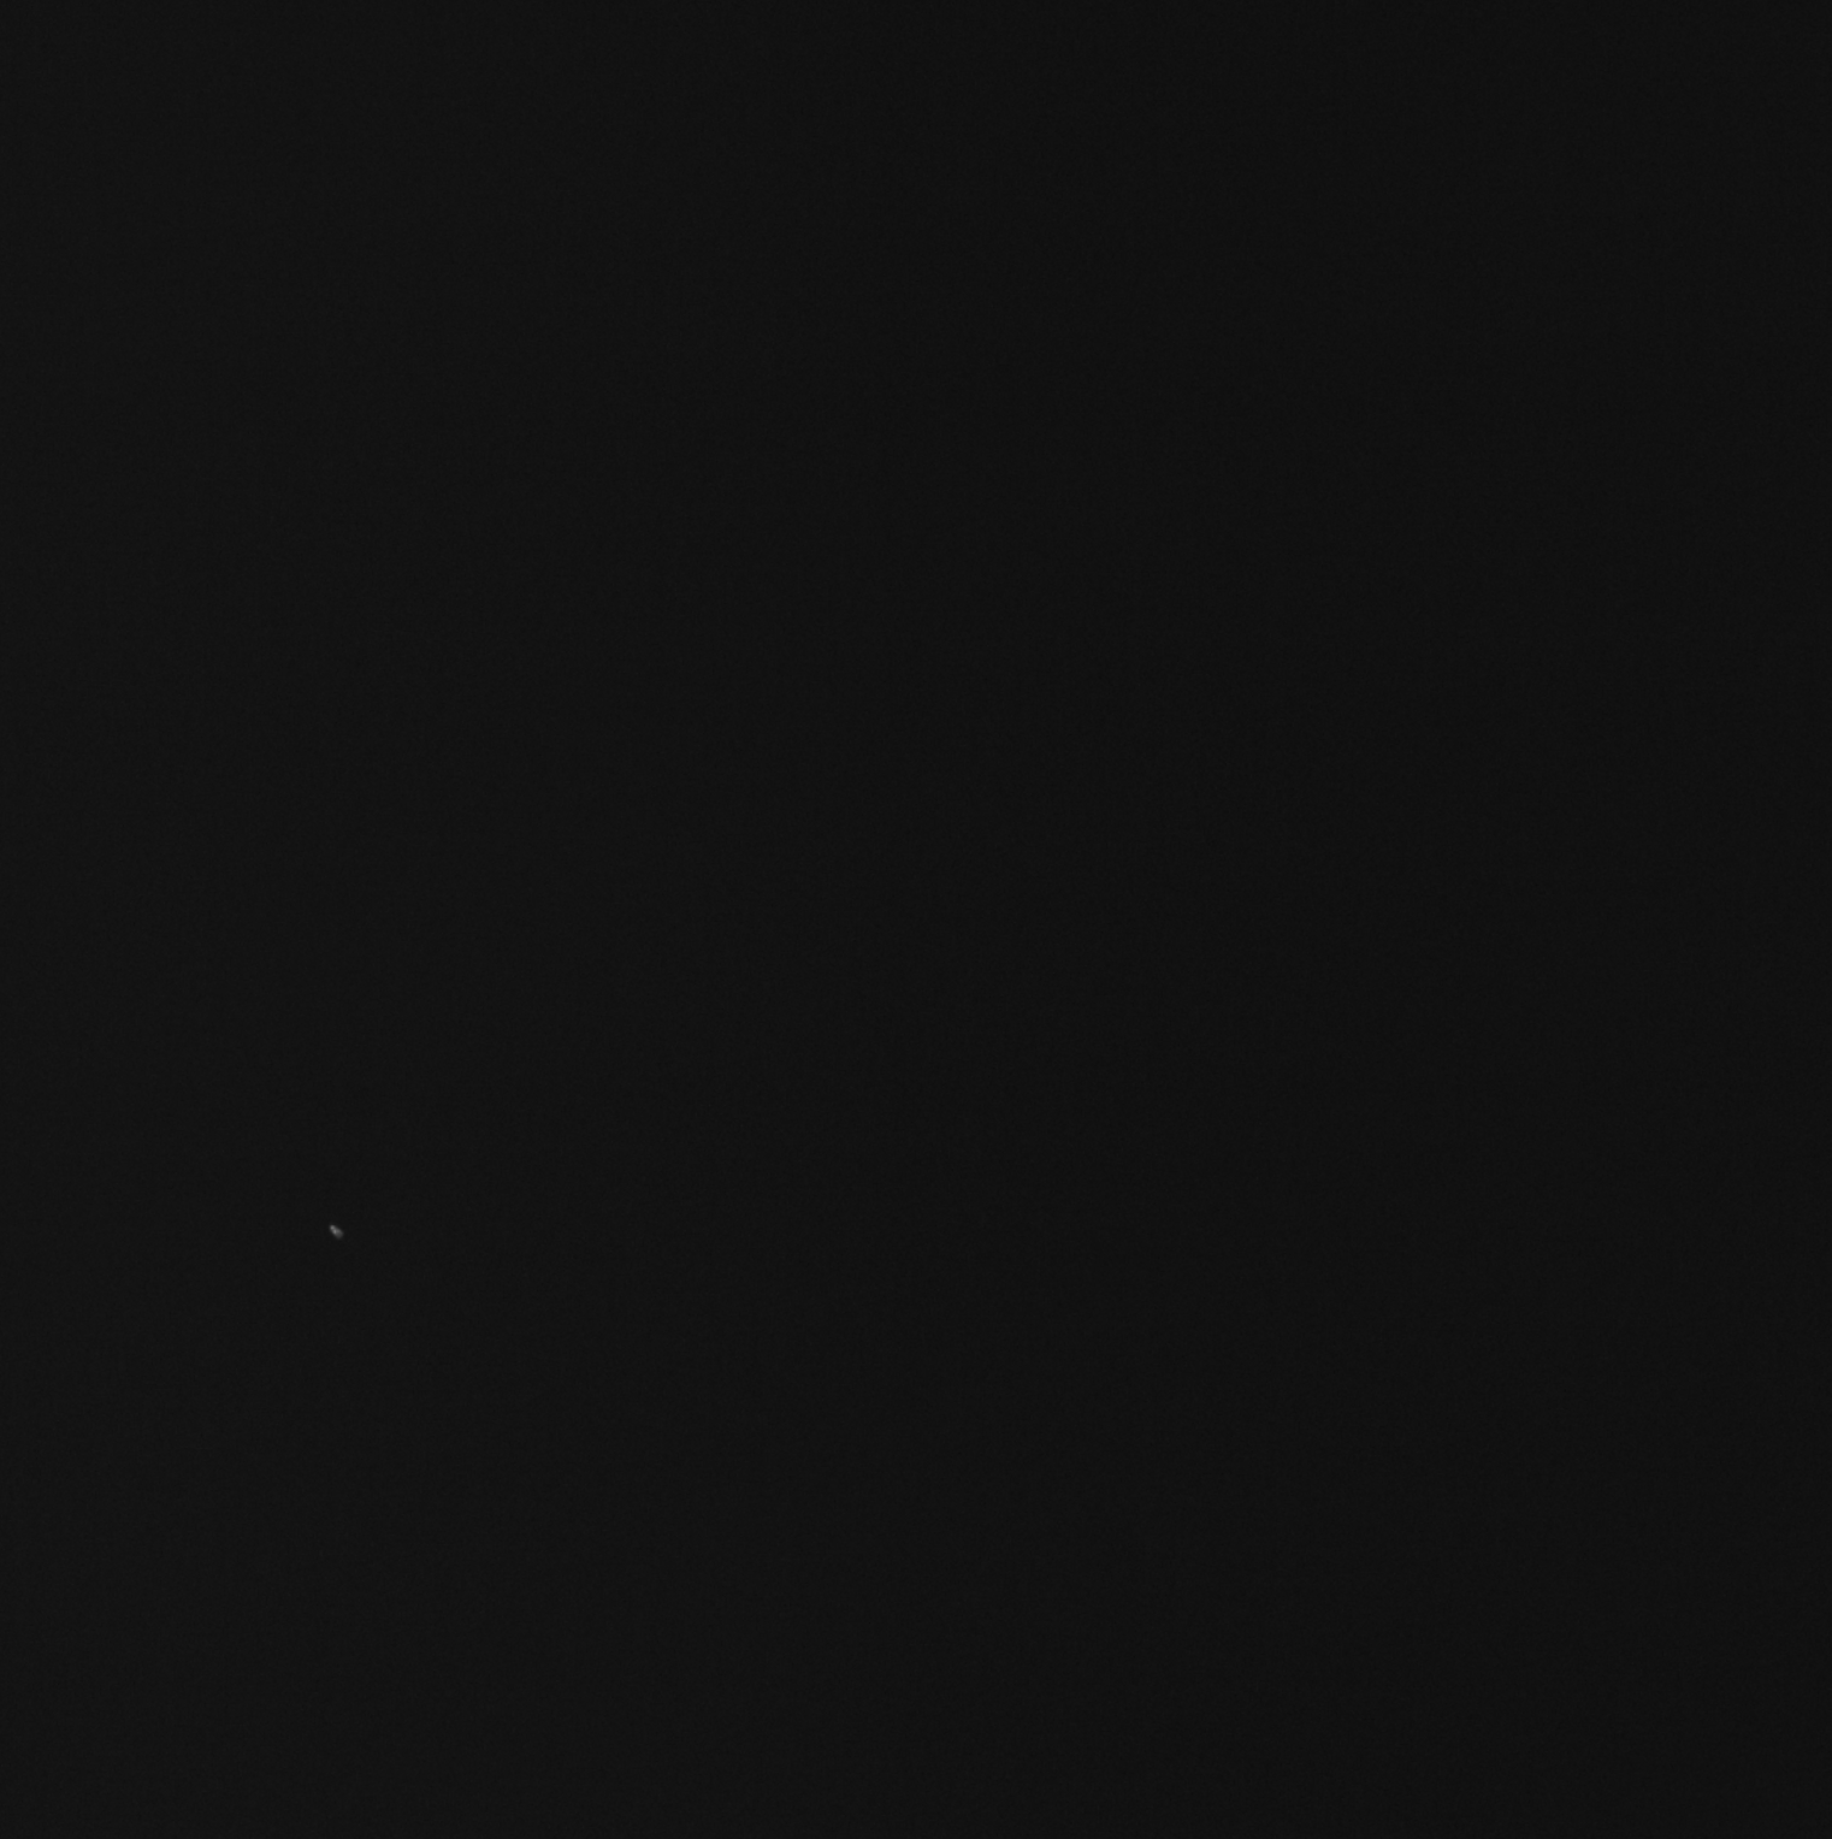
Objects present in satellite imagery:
river: (1573, 919)

